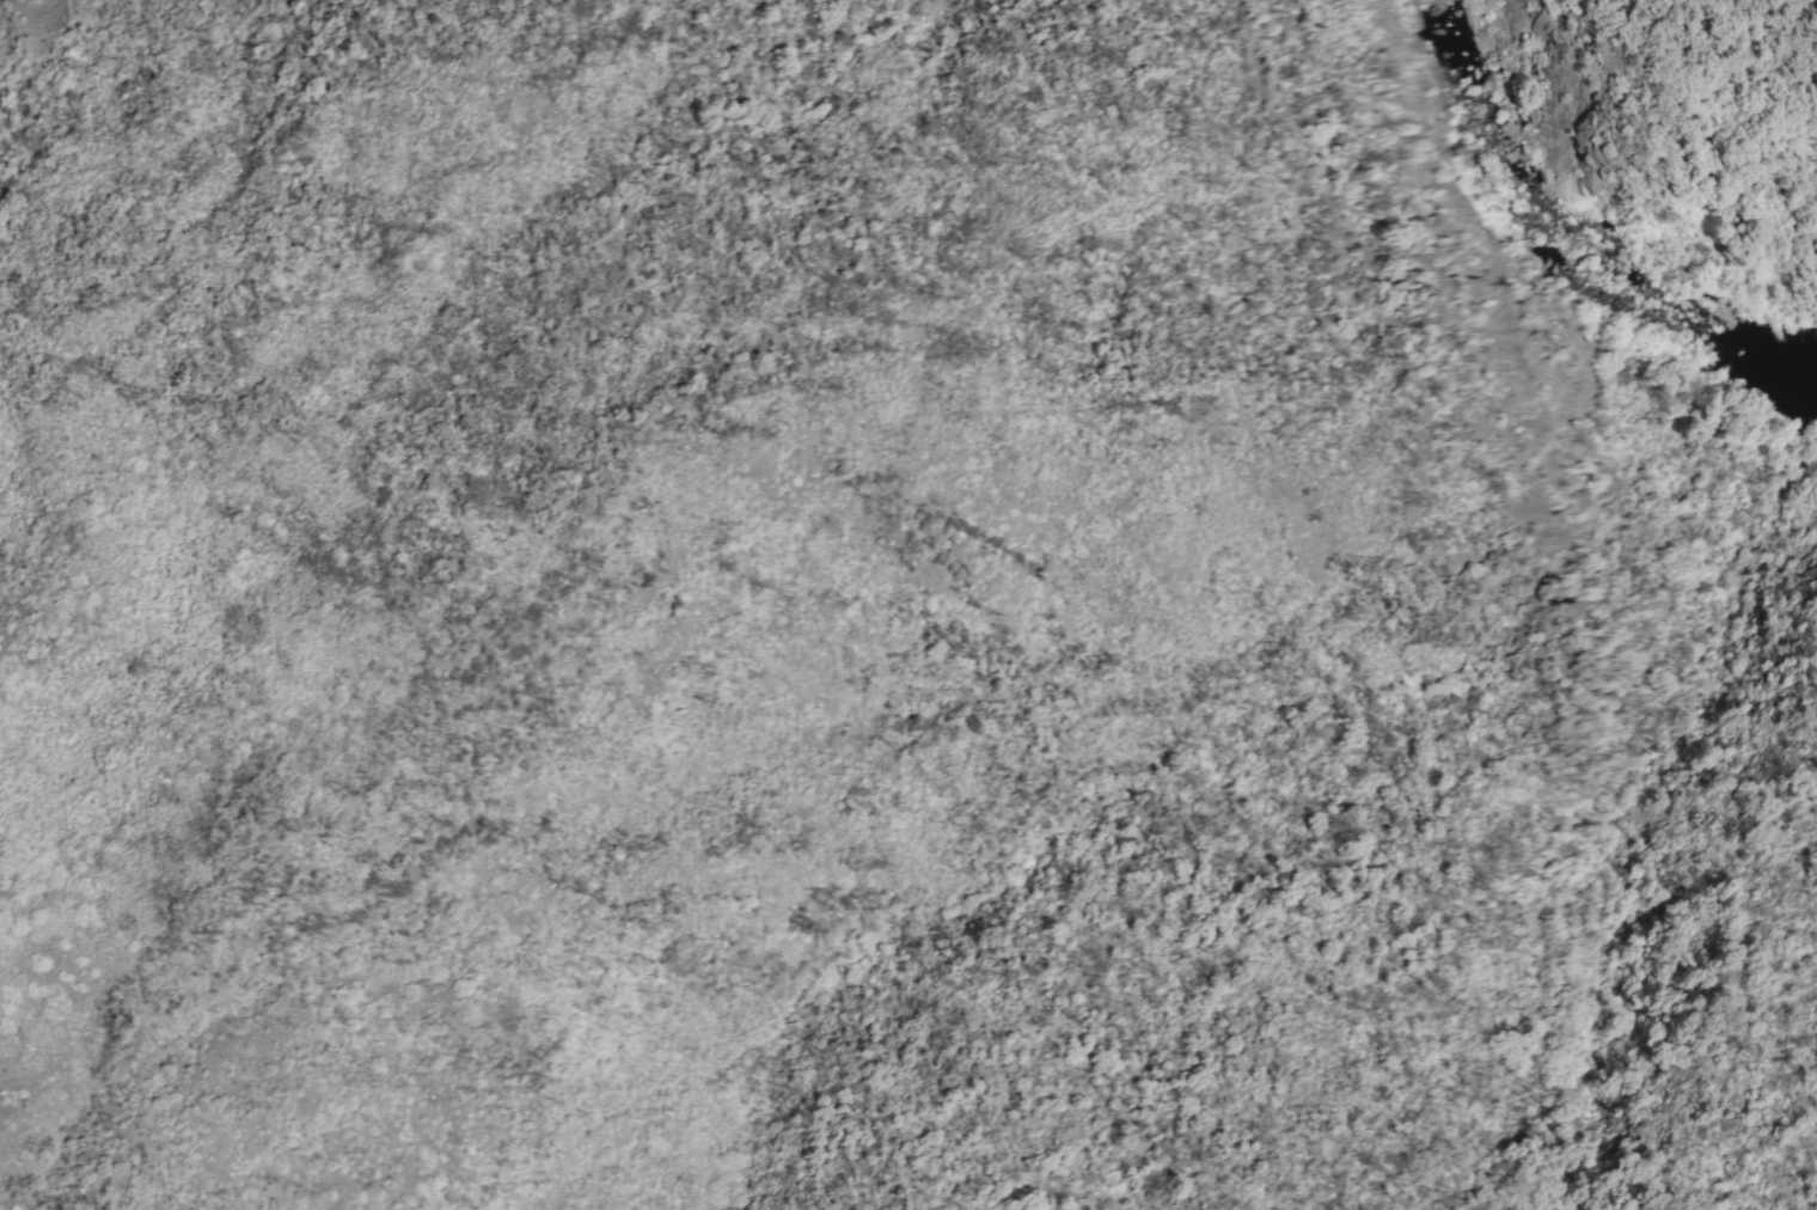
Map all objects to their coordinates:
river: (1560, 274)

